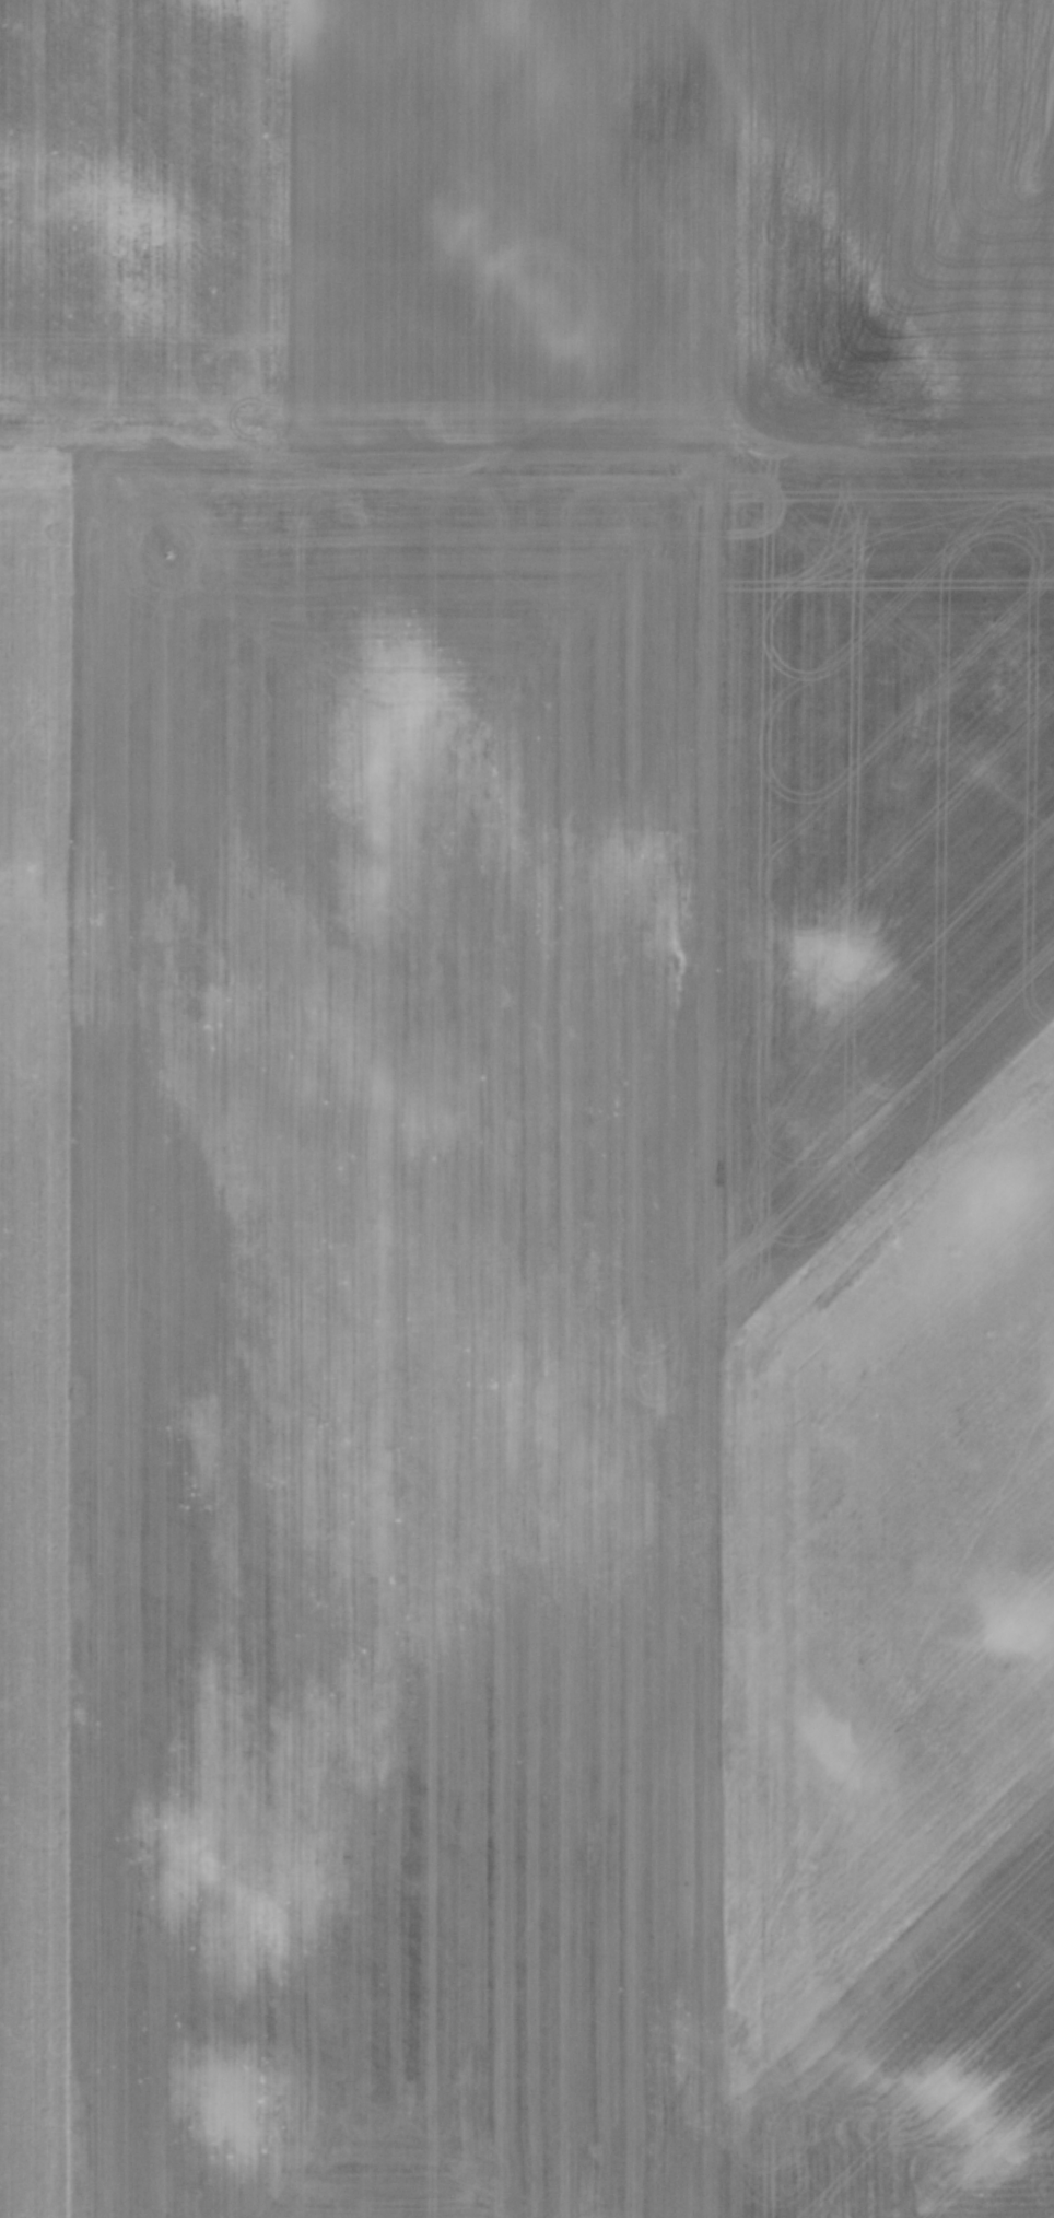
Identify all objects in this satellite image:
crop: (527, 1109)

